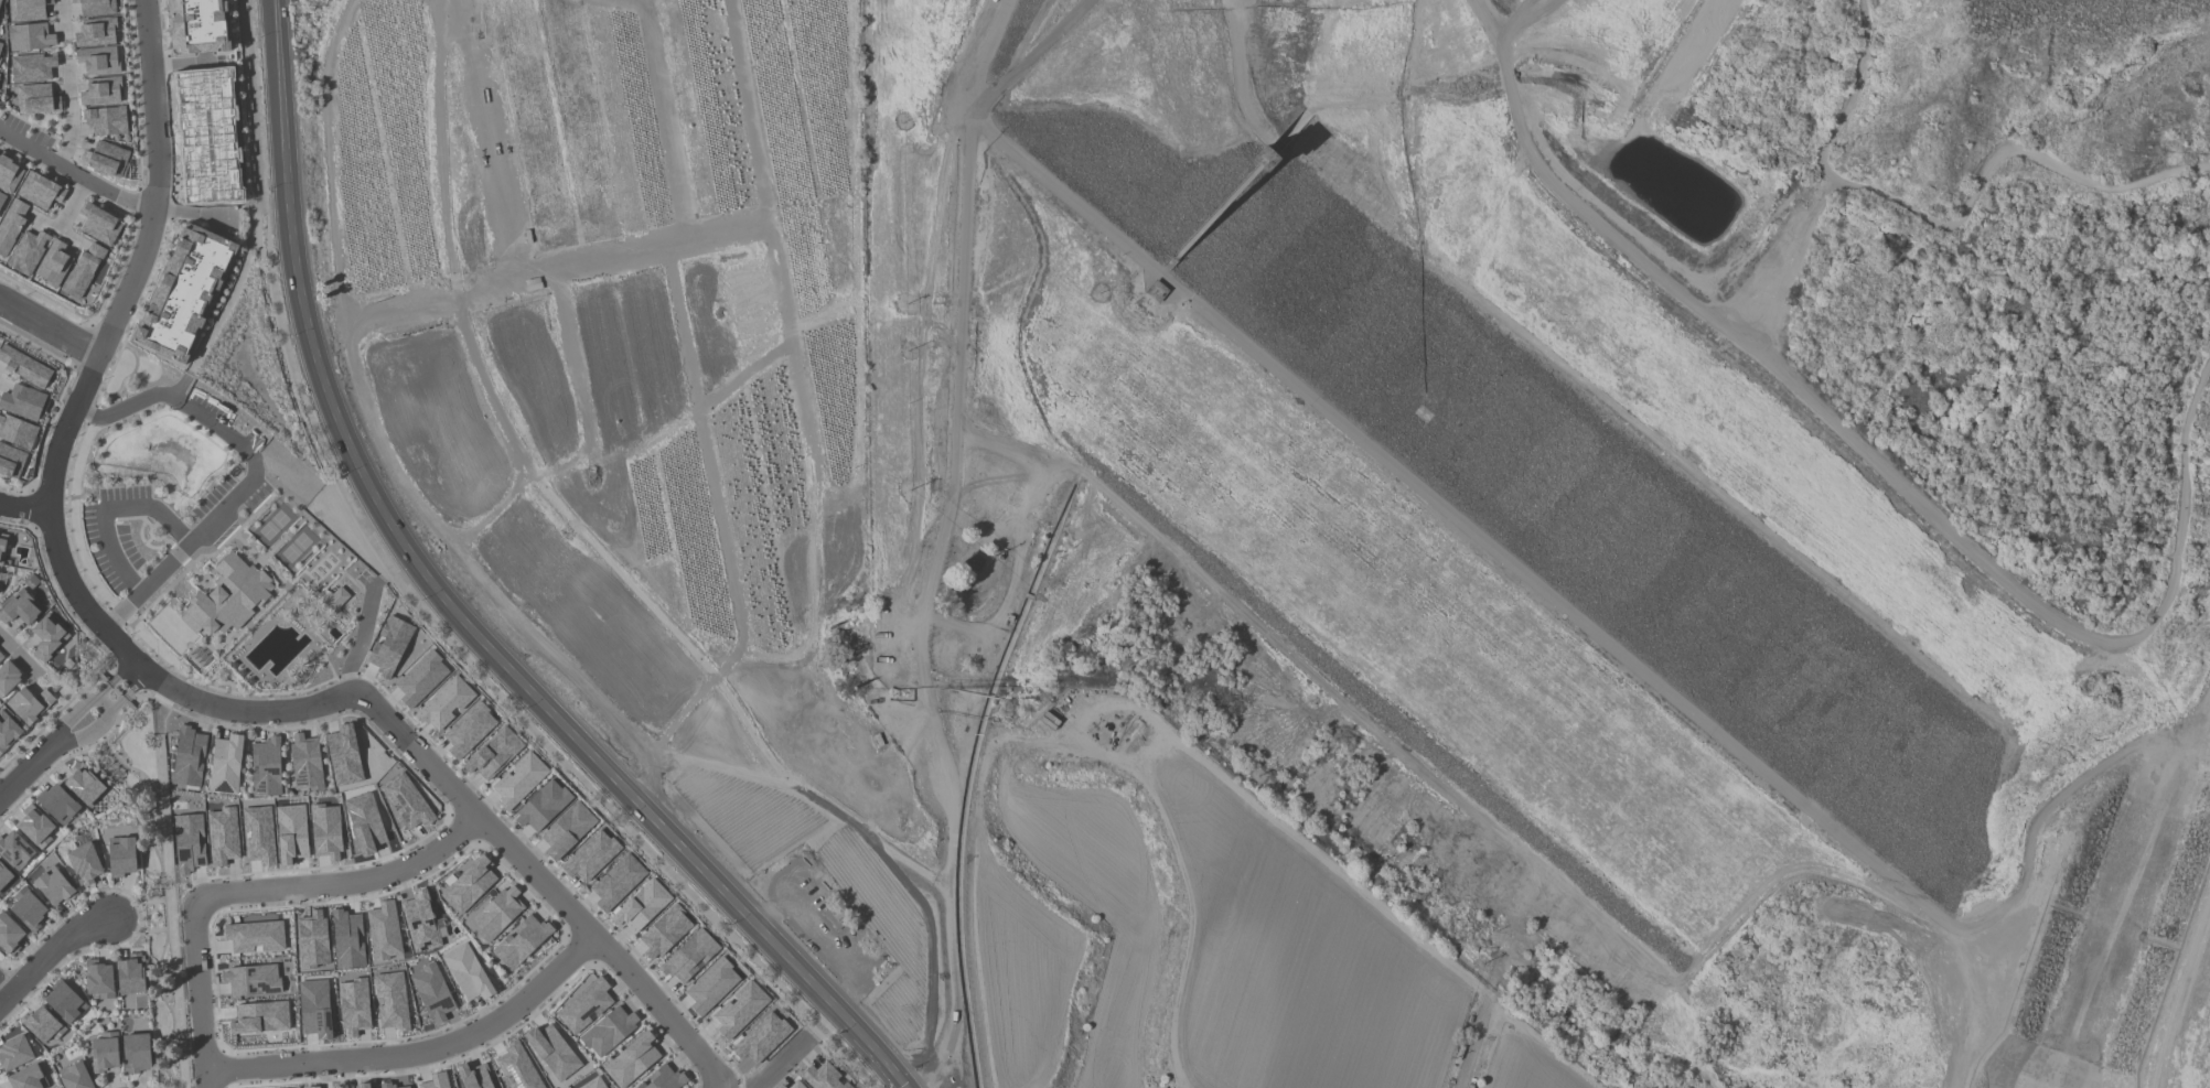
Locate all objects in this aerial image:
building: (0, 0)
building: (95, 7)
building: (26, 9)
road: (62, 15)
road: (1482, 17)
road: (1541, 21)
building: (199, 26)
building: (95, 32)
building: (29, 36)
building: (0, 45)
road: (1033, 55)
building: (96, 61)
road: (187, 62)
building: (32, 67)
building: (100, 90)
building: (36, 99)
road: (69, 118)
building: (105, 120)
building: (207, 136)
building: (105, 159)
road: (75, 171)
building: (9, 175)
road: (151, 179)
building: (39, 191)
building: (1, 198)
road: (71, 203)
road: (1576, 207)
road: (189, 216)
building: (11, 224)
building: (99, 224)
road: (1946, 225)
road: (56, 229)
building: (26, 252)
road: (1783, 256)
building: (53, 262)
building: (83, 270)
building: (183, 291)
road: (49, 323)
building: (24, 367)
building: (22, 402)
park: (1720, 423)
building: (17, 432)
building: (11, 461)
road: (253, 472)
road: (22, 506)
road: (106, 510)
road: (937, 543)
building: (2, 546)
crop: (801, 561)
building: (973, 562)
building: (0, 573)
road: (1523, 575)
road: (433, 583)
building: (227, 596)
building: (333, 599)
dam: (1406, 601)
road: (2034, 604)
building: (20, 608)
road: (93, 623)
building: (47, 636)
road: (358, 637)
building: (388, 646)
road: (17, 654)
building: (1, 657)
building: (8, 677)
building: (420, 678)
road: (111, 679)
road: (127, 691)
building: (29, 703)
building: (443, 703)
road: (103, 704)
road: (73, 715)
building: (468, 730)
road: (1166, 730)
building: (8, 731)
road: (87, 732)
building: (493, 753)
building: (343, 754)
building: (187, 756)
building: (305, 763)
building: (225, 764)
building: (266, 766)
road: (29, 769)
building: (518, 779)
building: (83, 784)
building: (406, 800)
building: (57, 802)
building: (541, 806)
building: (364, 821)
building: (35, 826)
building: (325, 830)
building: (566, 830)
building: (291, 832)
building: (222, 834)
building: (258, 834)
building: (187, 841)
building: (14, 850)
building: (121, 855)
building: (590, 855)
building: (84, 863)
building: (3, 876)
road: (344, 881)
building: (616, 882)
building: (469, 884)
building: (54, 886)
road: (544, 886)
building: (641, 906)
building: (28, 909)
building: (496, 913)
building: (840, 917)
building: (420, 920)
building: (384, 931)
building: (664, 931)
building: (9, 934)
building: (254, 935)
building: (347, 938)
building: (312, 939)
building: (521, 940)
road: (51, 954)
building: (688, 956)
building: (468, 972)
building: (130, 974)
building: (99, 979)
building: (251, 979)
building: (711, 985)
road: (3, 992)
road: (199, 992)
building: (432, 992)
building: (64, 1001)
building: (391, 1001)
building: (354, 1005)
building: (583, 1005)
building: (315, 1006)
road: (2185, 1006)
building: (739, 1009)
building: (259, 1016)
road: (820, 1022)
building: (42, 1024)
building: (608, 1031)
building: (761, 1038)
building: (552, 1051)
building: (14, 1052)
building: (104, 1052)
building: (136, 1052)
road: (417, 1053)
building: (631, 1059)
road: (876, 1063)
road: (780, 1064)
building: (518, 1067)
building: (74, 1076)
building: (474, 1076)
building: (823, 1076)
building: (26, 1078)
building: (663, 1078)
building: (436, 1081)
building: (592, 1084)
building: (362, 1085)
building: (387, 1085)
building: (796, 1085)
building: (781, 1086)
building: (312, 1087)
building: (405, 1087)

